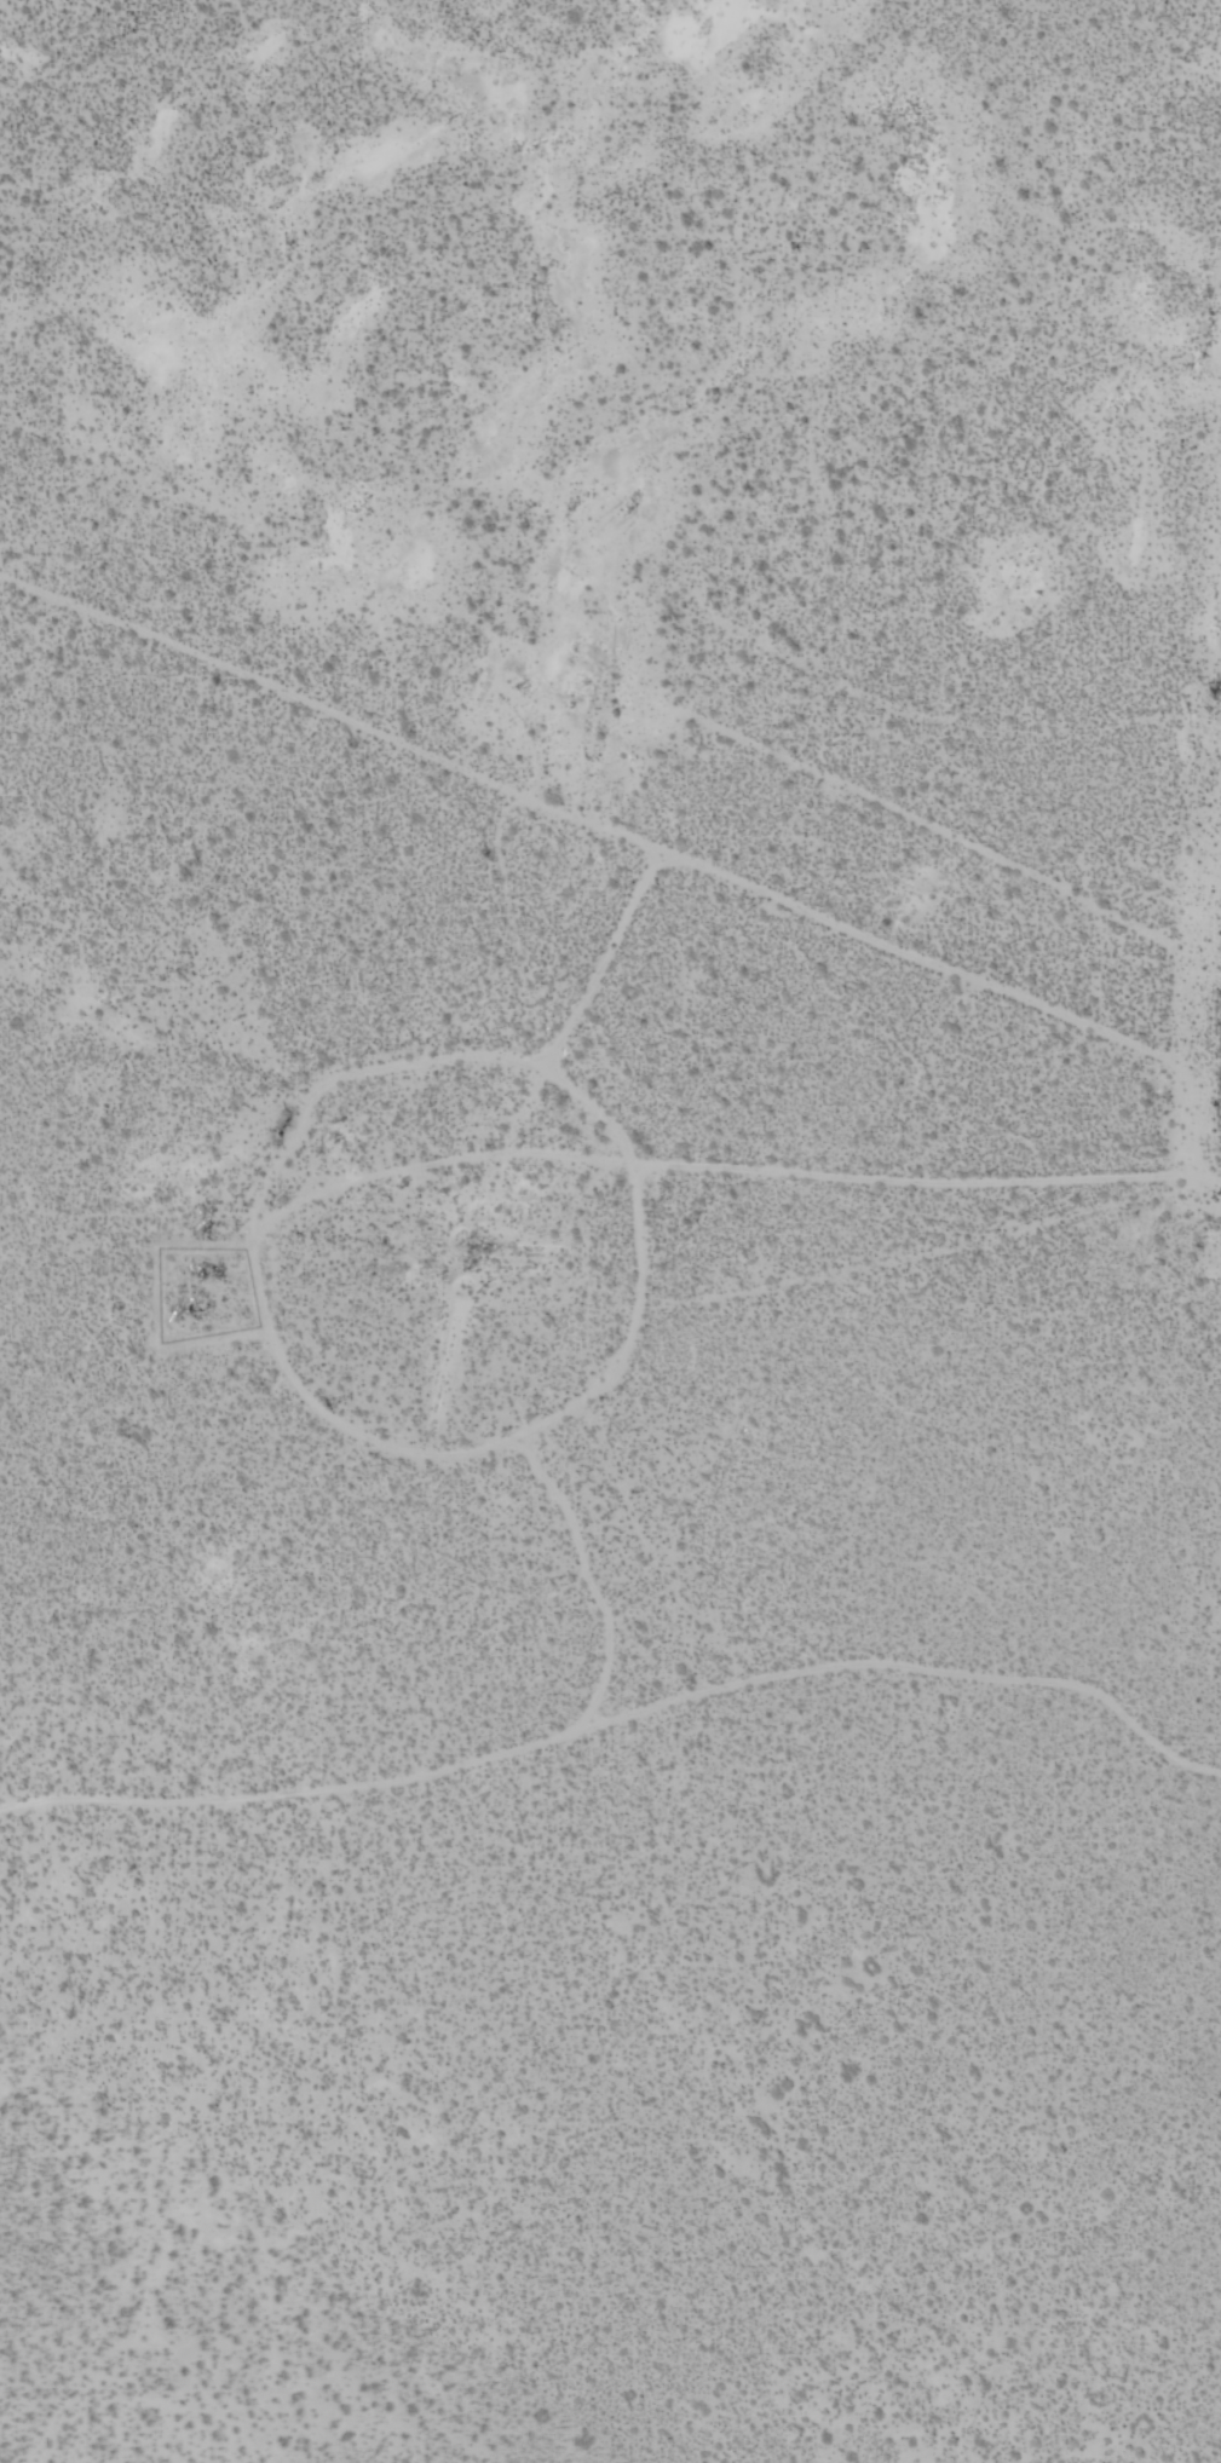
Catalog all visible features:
airport: (610, 1231)

